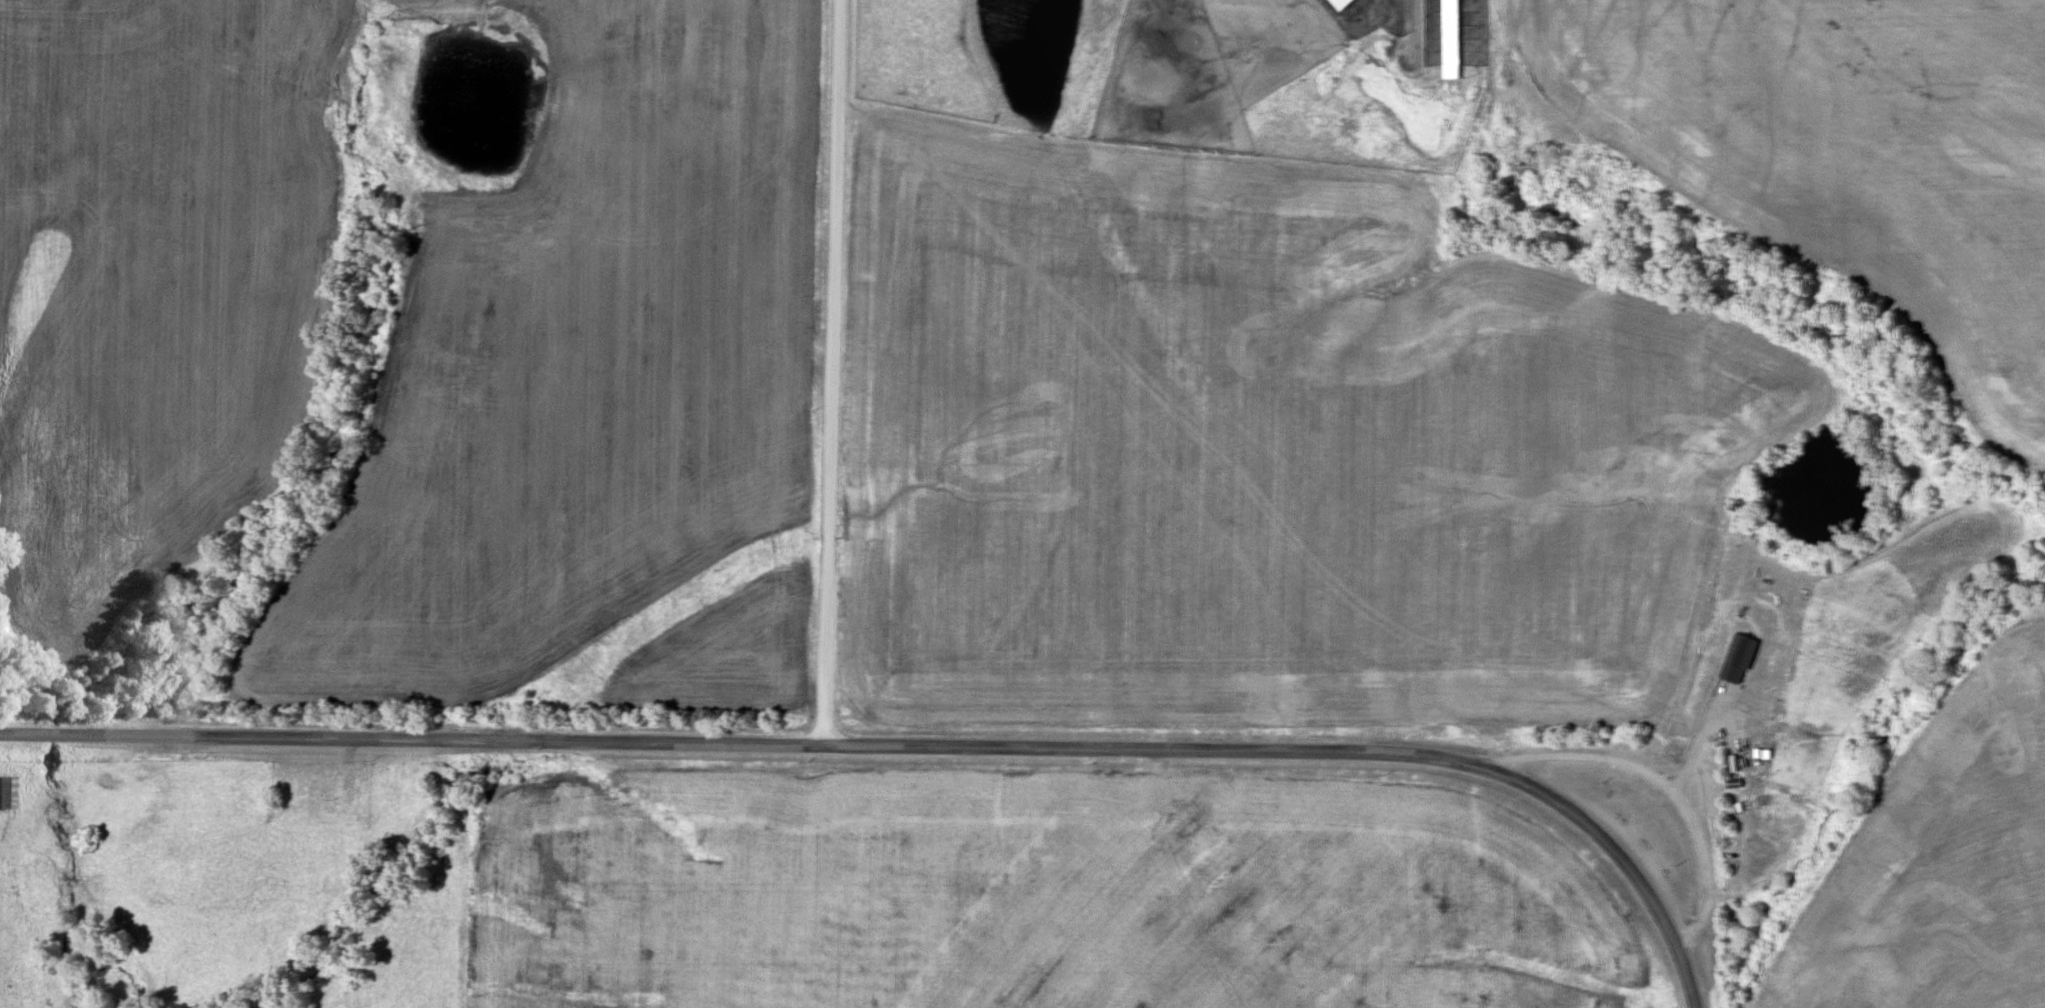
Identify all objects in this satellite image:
building: (1341, 3)
road: (823, 371)
road: (912, 743)
building: (5, 791)
building: (318, 794)

